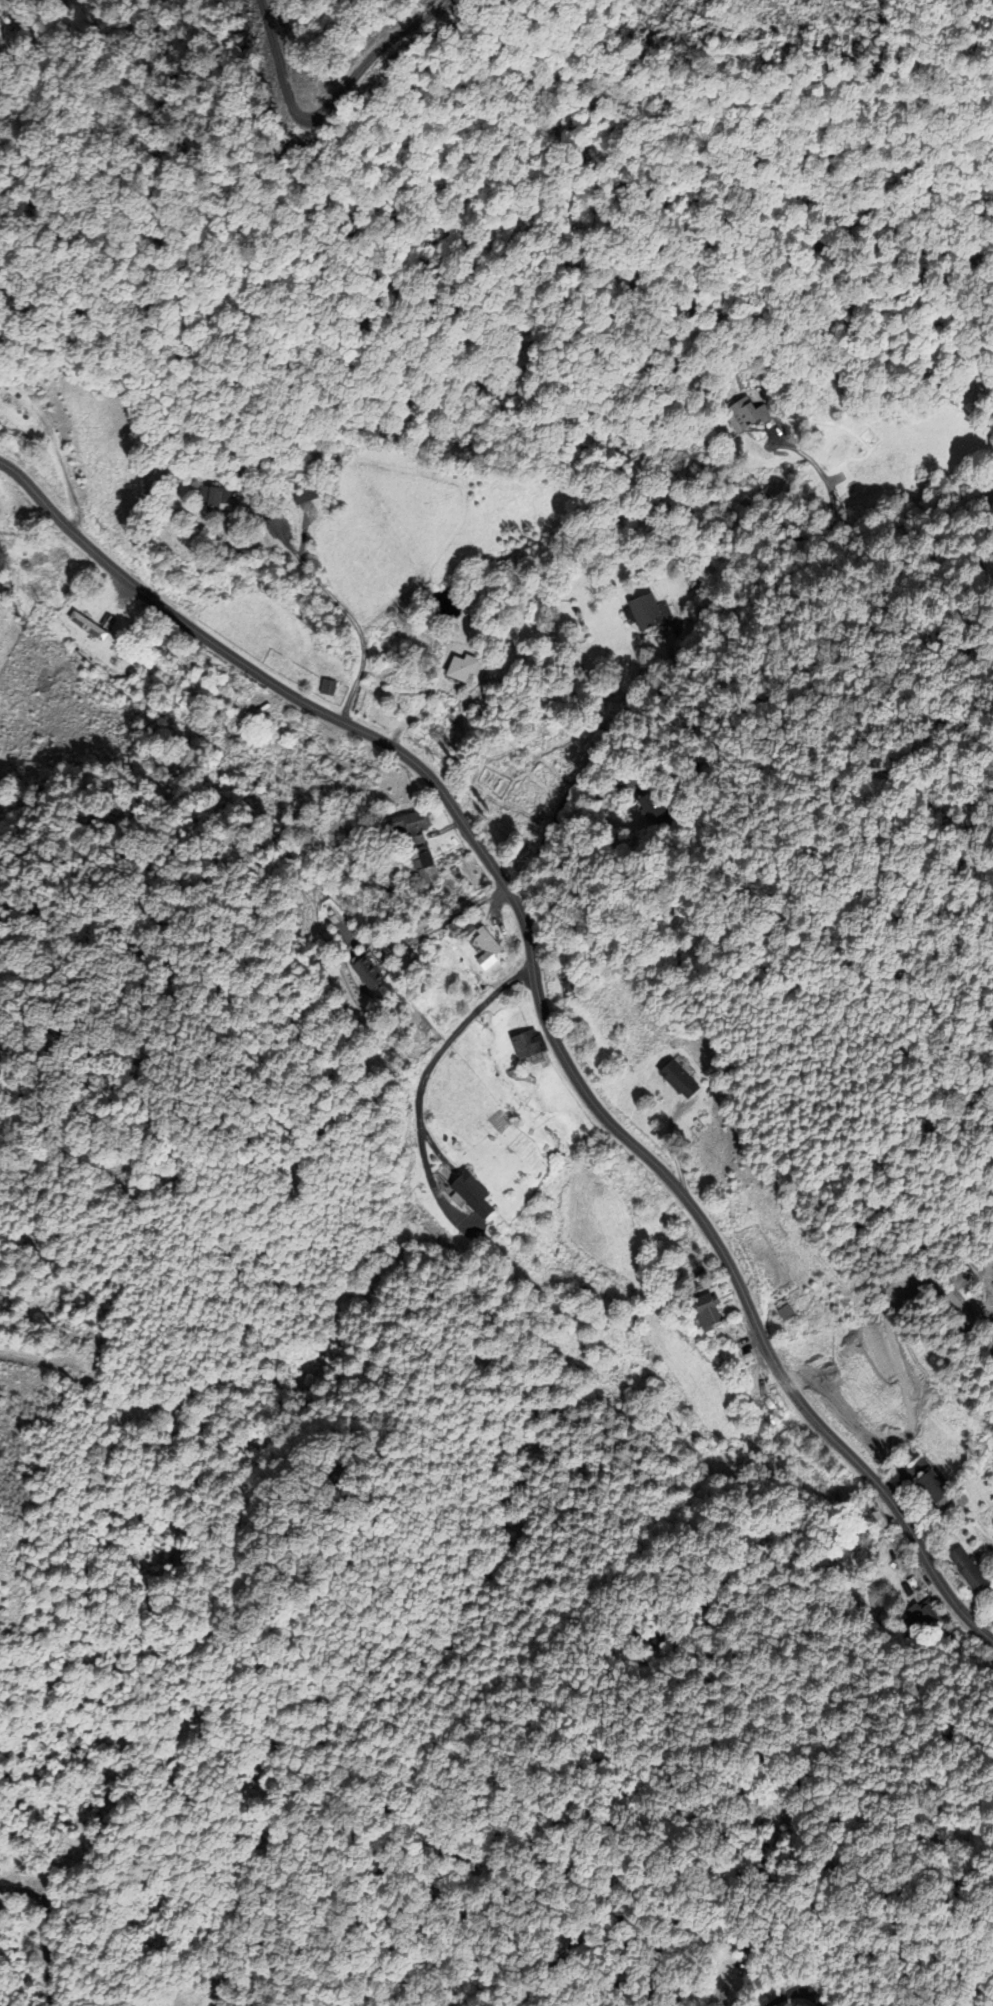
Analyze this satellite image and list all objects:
road: (206, 319)
building: (755, 411)
building: (215, 496)
building: (308, 498)
road: (752, 559)
building: (642, 611)
road: (346, 614)
building: (91, 625)
building: (459, 668)
building: (324, 687)
road: (579, 774)
road: (429, 930)
building: (481, 947)
building: (363, 970)
building: (571, 984)
road: (538, 1002)
building: (522, 1044)
road: (443, 1047)
building: (679, 1080)
building: (460, 1191)
building: (686, 1260)
building: (704, 1312)
road: (36, 1357)
building: (769, 1404)
building: (913, 1456)
building: (938, 1489)
building: (876, 1520)
building: (969, 1568)
building: (924, 1619)
road: (729, 1984)
road: (793, 1992)

